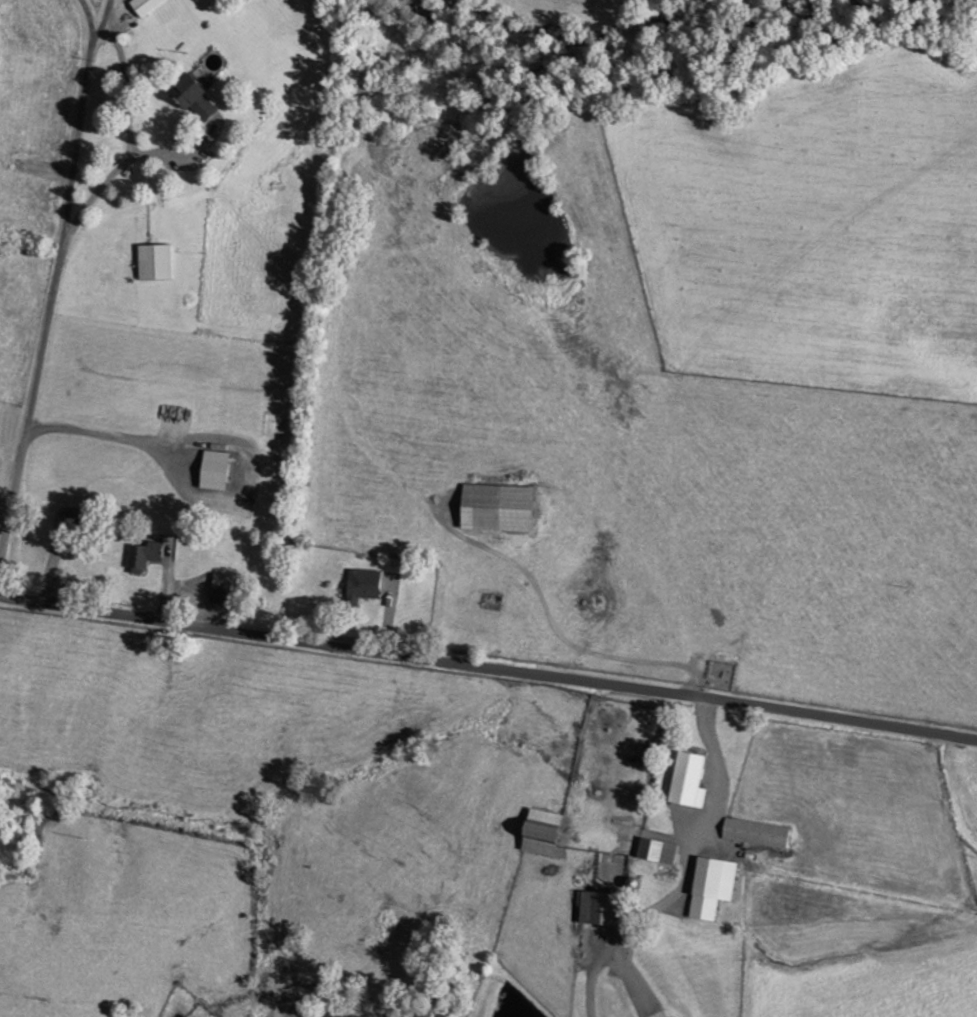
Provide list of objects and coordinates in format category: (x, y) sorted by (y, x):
building: (146, 6)
road: (101, 19)
building: (197, 97)
building: (155, 262)
road: (50, 292)
building: (216, 469)
building: (501, 507)
building: (68, 520)
building: (144, 554)
building: (363, 586)
building: (221, 587)
road: (488, 667)
building: (685, 778)
building: (544, 832)
building: (758, 832)
building: (659, 850)
building: (715, 886)
building: (604, 907)

